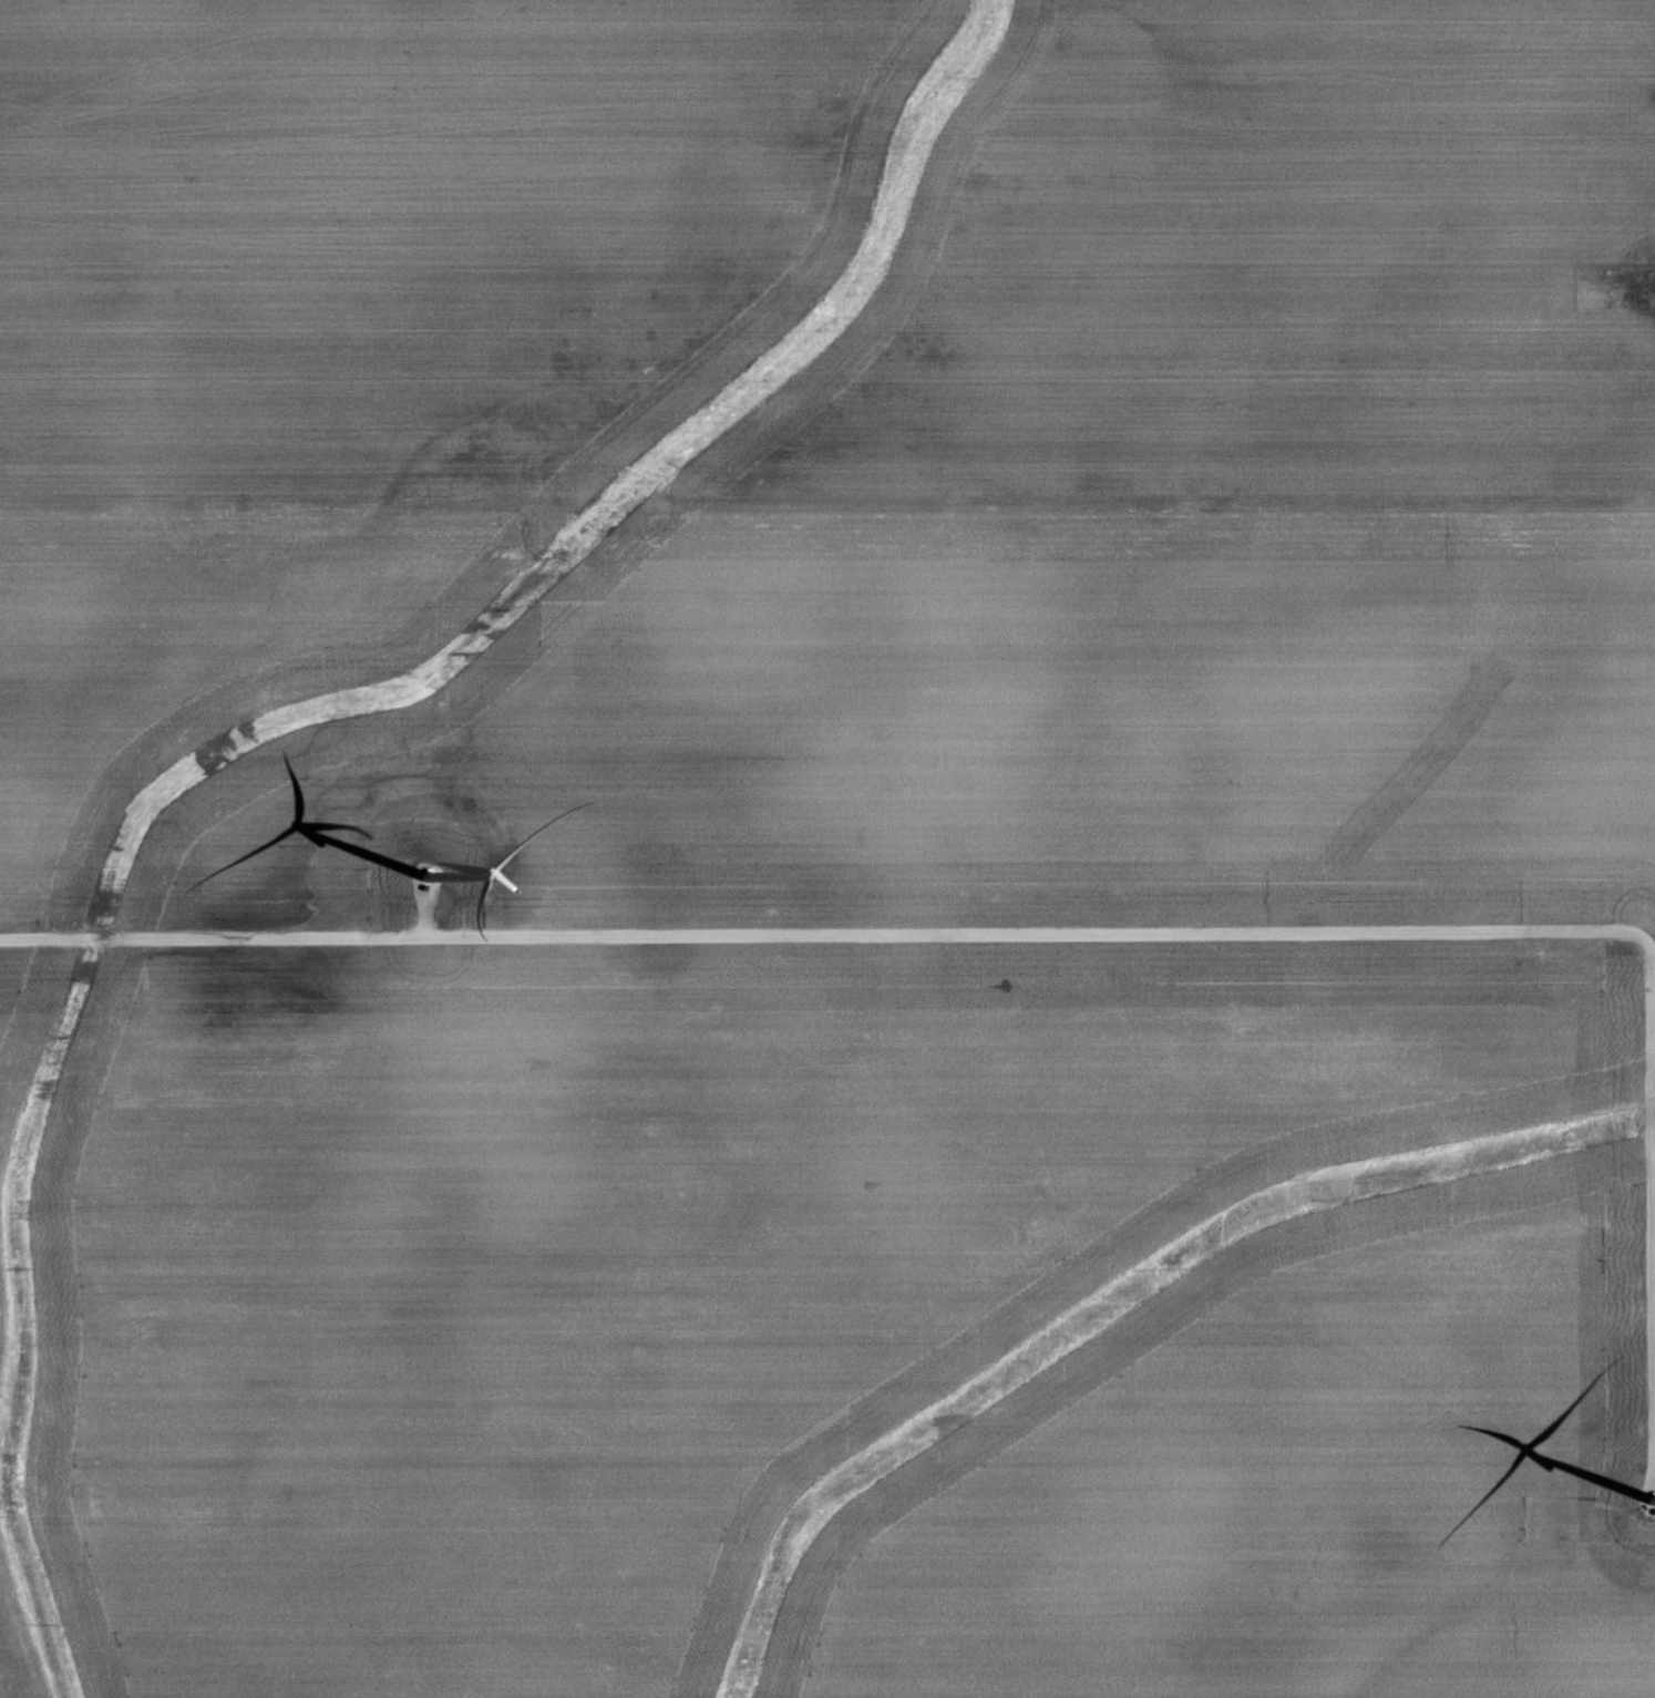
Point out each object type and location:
wind turbine: (435, 868)
road: (1098, 933)
wind turbine: (1652, 1502)

